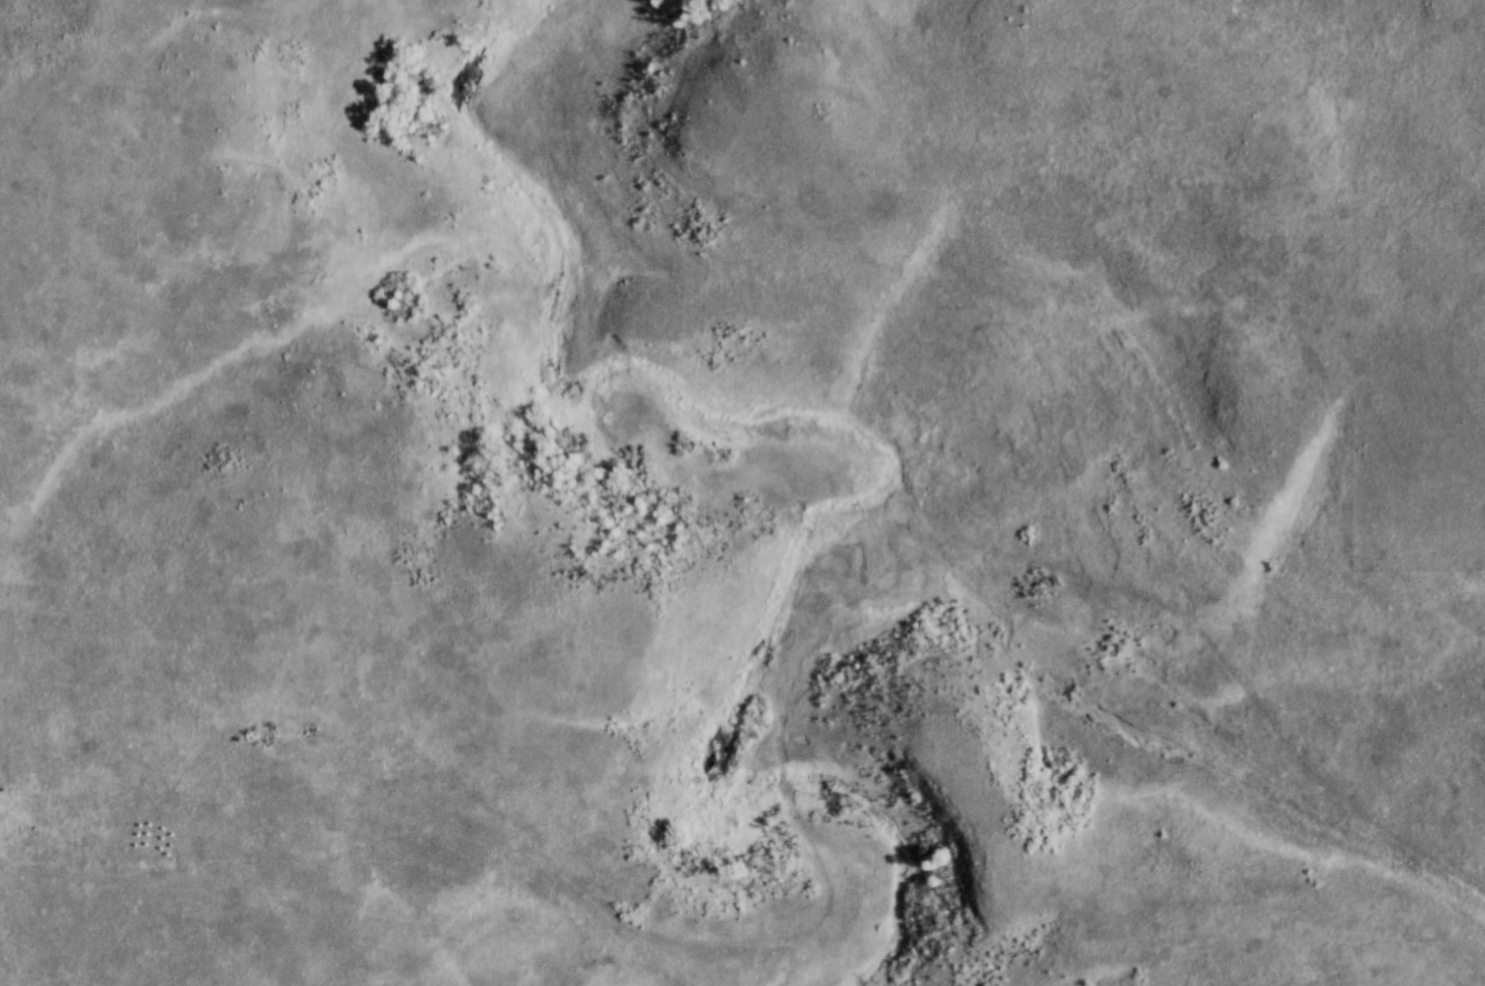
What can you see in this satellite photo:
road: (799, 826)

